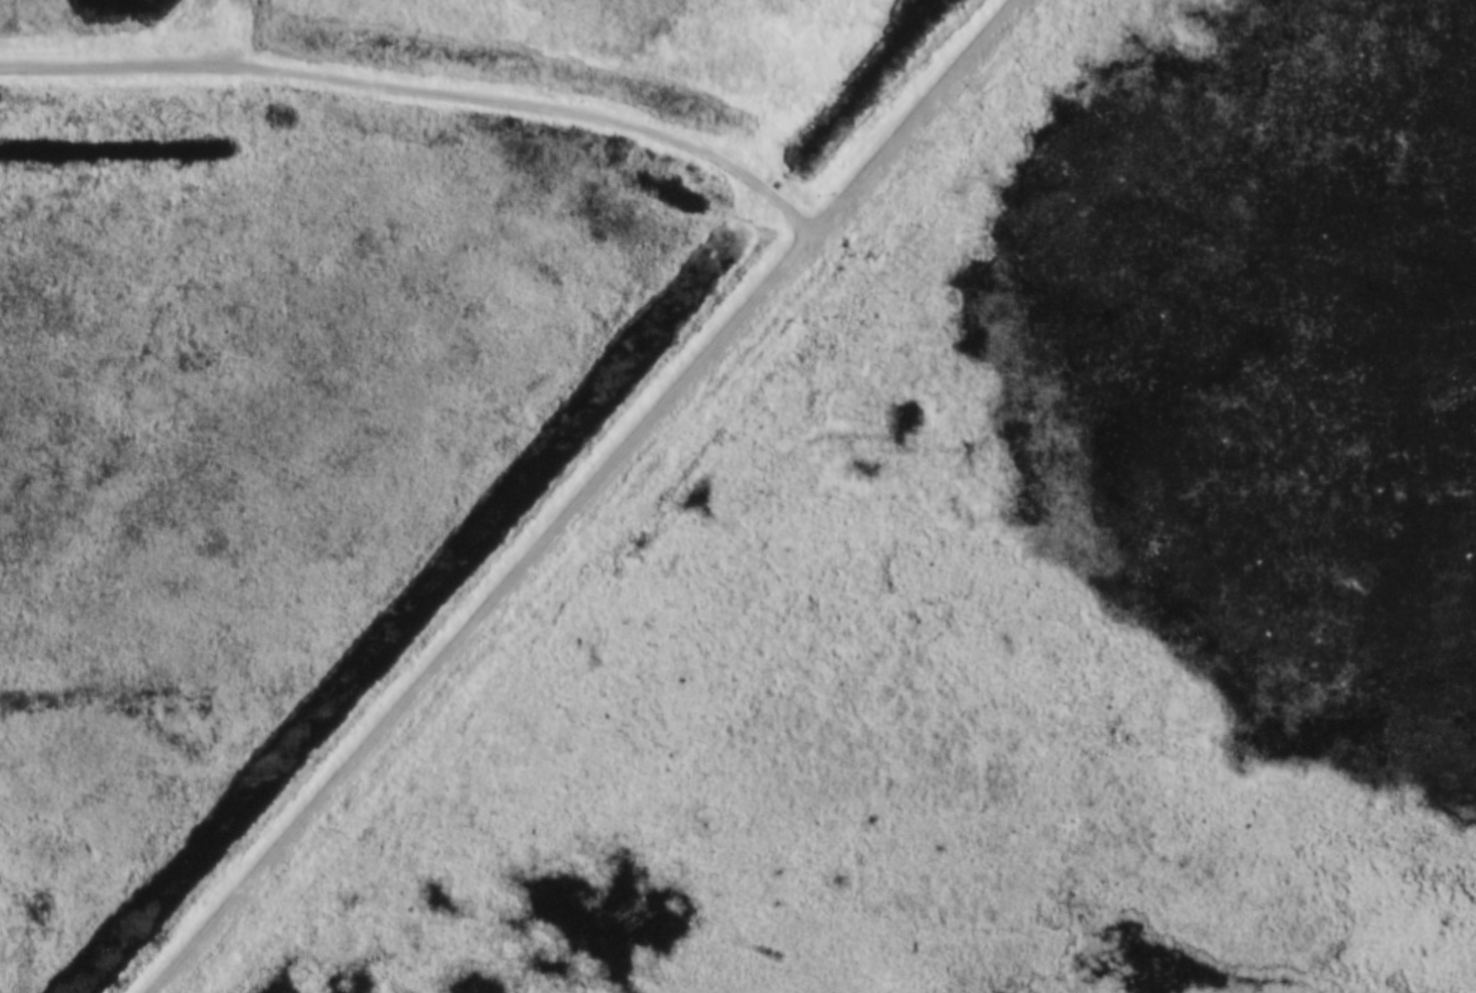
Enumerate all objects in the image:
road: (423, 86)
road: (583, 496)
dam: (608, 497)

